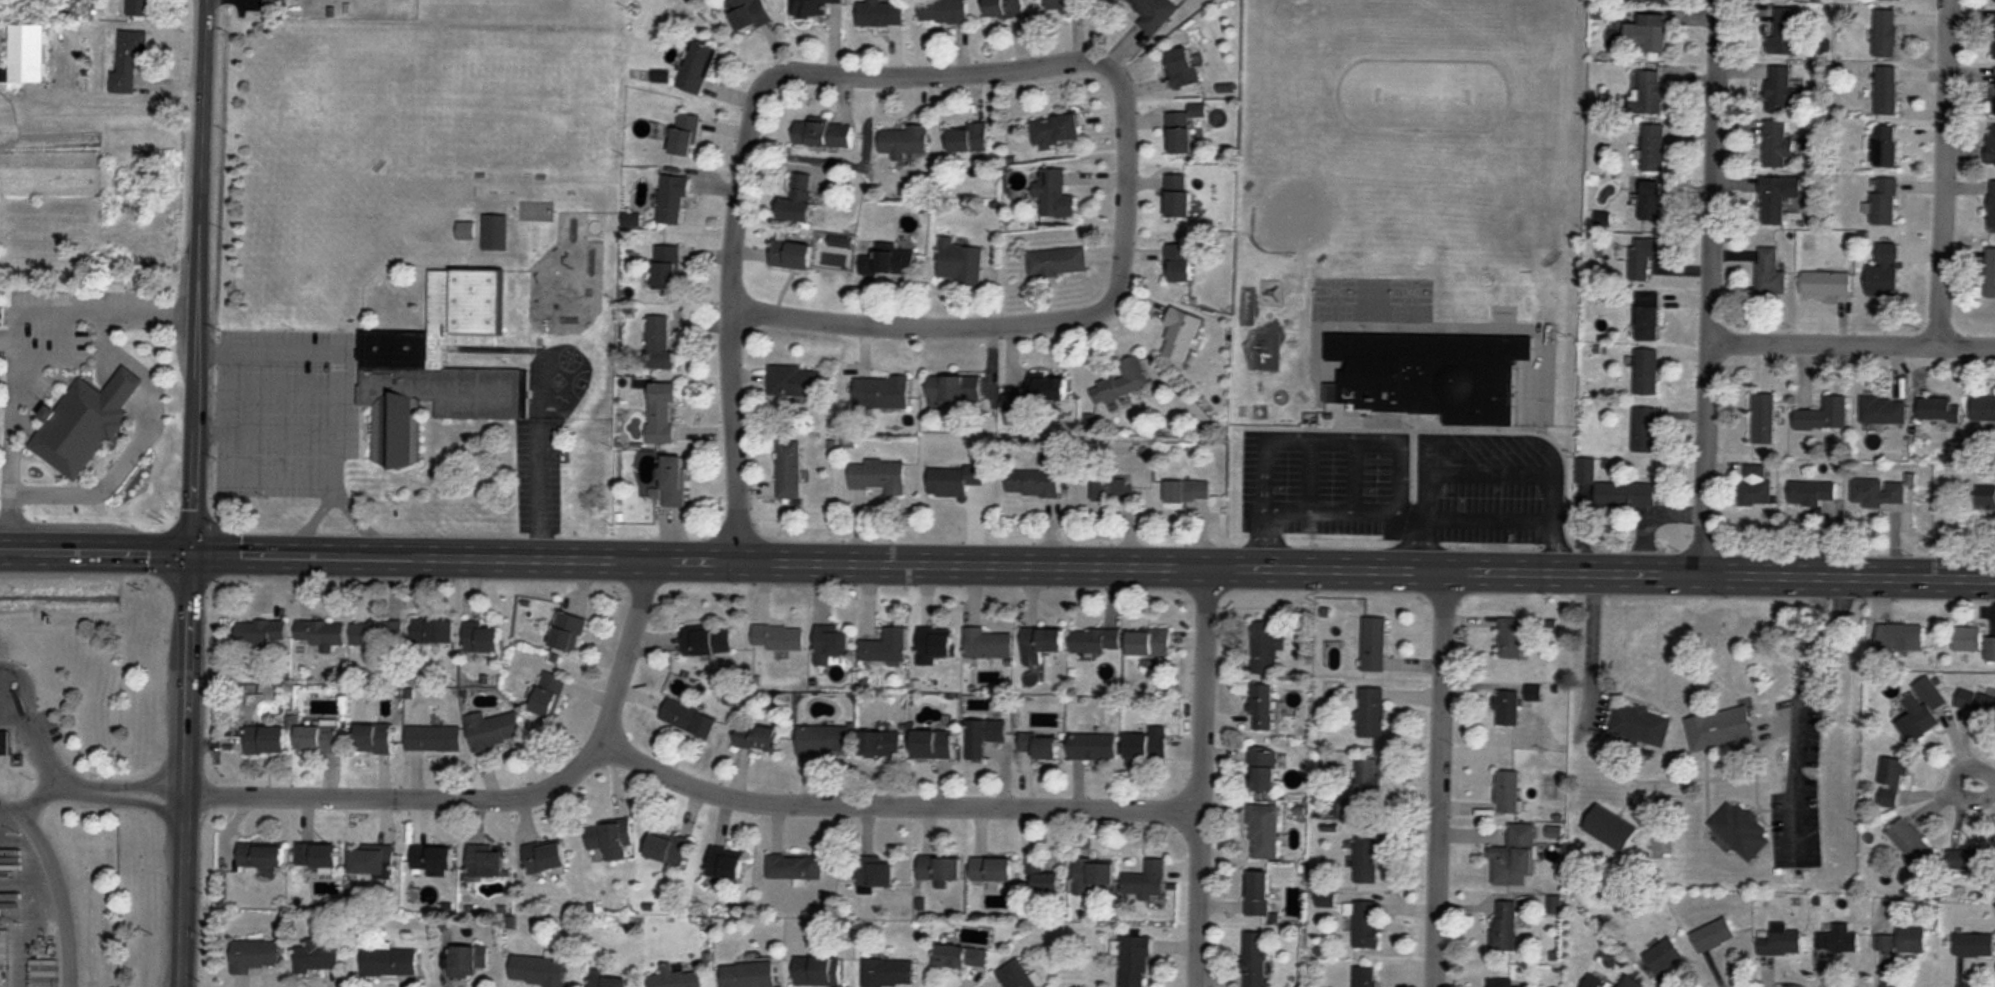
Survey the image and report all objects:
building: (1658, 0)
building: (277, 2)
building: (1068, 5)
building: (141, 8)
building: (810, 8)
building: (1004, 8)
building: (944, 11)
building: (1154, 13)
building: (747, 14)
building: (880, 14)
building: (1649, 32)
building: (1785, 32)
building: (1886, 32)
building: (1994, 36)
building: (27, 52)
building: (129, 60)
building: (1182, 68)
building: (698, 69)
road: (956, 72)
building: (1648, 89)
building: (1783, 89)
building: (1887, 89)
road: (126, 91)
building: (1994, 91)
building: (1056, 129)
building: (1180, 132)
building: (822, 133)
building: (685, 134)
building: (968, 138)
building: (903, 141)
building: (1776, 143)
building: (1991, 144)
building: (1886, 145)
building: (1654, 146)
road: (1946, 169)
building: (1178, 195)
building: (1055, 196)
building: (1777, 196)
building: (672, 200)
building: (1653, 200)
building: (1885, 201)
building: (800, 202)
building: (1992, 204)
building: (466, 230)
building: (495, 231)
building: (791, 254)
building: (1645, 257)
building: (888, 260)
building: (1183, 261)
building: (959, 262)
building: (1057, 262)
building: (666, 266)
building: (1770, 272)
building: (1884, 272)
building: (1990, 273)
road: (202, 275)
building: (1827, 283)
road: (1711, 286)
building: (1343, 308)
road: (179, 314)
building: (1648, 316)
road: (965, 323)
road: (14, 330)
building: (1181, 335)
road: (1852, 336)
building: (659, 341)
road: (103, 346)
road: (210, 348)
road: (63, 358)
building: (432, 359)
building: (1647, 372)
building: (1423, 375)
road: (735, 379)
building: (793, 381)
building: (1123, 382)
road: (126, 384)
road: (223, 385)
building: (1050, 388)
building: (954, 389)
building: (881, 392)
building: (1014, 401)
building: (1938, 408)
building: (1983, 409)
building: (1884, 410)
building: (661, 411)
building: (1824, 415)
building: (1764, 418)
building: (84, 422)
road: (208, 422)
building: (1645, 430)
building: (789, 469)
building: (879, 475)
road: (110, 478)
building: (954, 479)
building: (673, 480)
building: (1033, 482)
road: (532, 485)
building: (1756, 486)
building: (1617, 488)
road: (330, 489)
building: (1110, 490)
building: (1878, 491)
building: (1812, 492)
building: (1985, 496)
road: (1335, 512)
road: (1512, 517)
road: (12, 521)
road: (1420, 532)
road: (1264, 538)
road: (6, 550)
road: (104, 551)
traffic signals: (195, 551)
road: (1095, 563)
building: (432, 630)
building: (261, 631)
building: (320, 632)
building: (567, 632)
building: (377, 633)
building: (480, 637)
building: (778, 638)
building: (1513, 638)
building: (1901, 638)
building: (1967, 638)
building: (1042, 639)
road: (1589, 639)
building: (1096, 640)
building: (707, 641)
building: (1150, 641)
building: (830, 643)
building: (987, 643)
building: (936, 644)
building: (1374, 644)
building: (886, 646)
building: (1267, 646)
building: (1991, 649)
building: (548, 695)
building: (1975, 703)
building: (1262, 706)
road: (1797, 707)
building: (1923, 708)
building: (1507, 710)
building: (1371, 713)
building: (688, 719)
building: (1640, 726)
building: (493, 730)
building: (1721, 730)
road: (24, 732)
building: (984, 736)
building: (758, 737)
building: (433, 738)
building: (265, 739)
building: (317, 739)
building: (373, 739)
building: (823, 740)
building: (4, 742)
building: (879, 744)
building: (932, 744)
building: (1147, 744)
building: (1039, 746)
building: (1093, 746)
road: (187, 768)
building: (1263, 769)
road: (1201, 776)
road: (1442, 776)
building: (1891, 783)
road: (1955, 783)
road: (122, 786)
building: (1363, 789)
building: (1507, 793)
road: (38, 798)
road: (500, 798)
road: (128, 800)
road: (893, 805)
building: (1611, 828)
building: (1264, 832)
building: (1740, 832)
building: (610, 839)
building: (1910, 841)
building: (668, 849)
building: (316, 855)
building: (260, 856)
building: (544, 857)
building: (1366, 858)
building: (371, 861)
building: (432, 861)
building: (485, 861)
building: (1969, 861)
building: (726, 863)
building: (795, 867)
building: (940, 868)
building: (992, 869)
building: (875, 872)
building: (1093, 874)
building: (1042, 877)
building: (1146, 881)
road: (59, 884)
building: (1258, 894)
parking lot: (25, 918)
road: (42, 918)
building: (1366, 925)
building: (1503, 926)
building: (1713, 935)
building: (1912, 940)
building: (1837, 941)
building: (1781, 943)
building: (1886, 944)
building: (1974, 945)
building: (255, 955)
building: (1664, 956)
building: (318, 957)
building: (962, 957)
building: (1254, 960)
building: (1134, 961)
building: (468, 962)
building: (389, 963)
building: (538, 971)
building: (817, 971)
building: (888, 973)
building: (748, 975)
building: (1016, 975)
building: (1365, 977)
building: (675, 978)
building: (1635, 980)
building: (607, 981)
building: (1501, 982)

